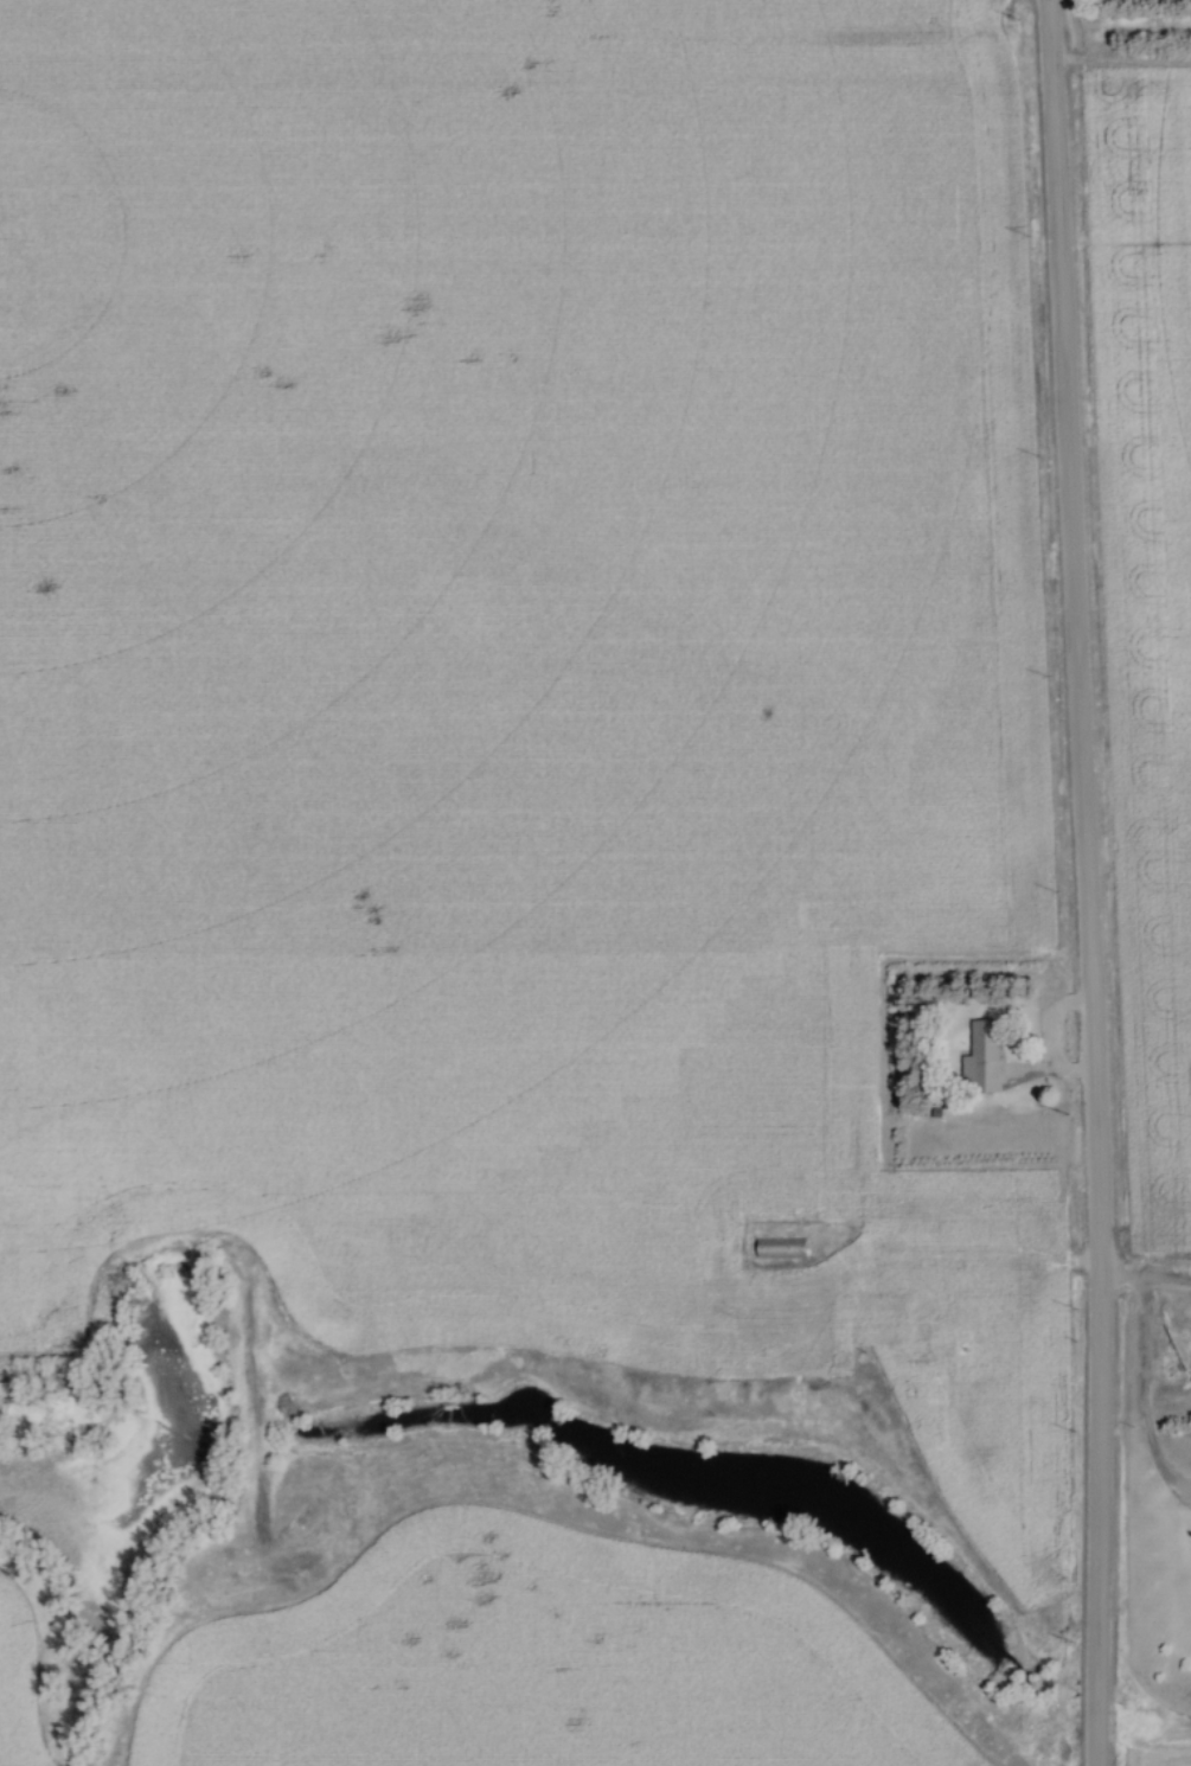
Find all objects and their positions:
railway: (595, 44)
road: (1084, 882)
building: (981, 1061)
building: (779, 1250)
road: (1141, 1382)

